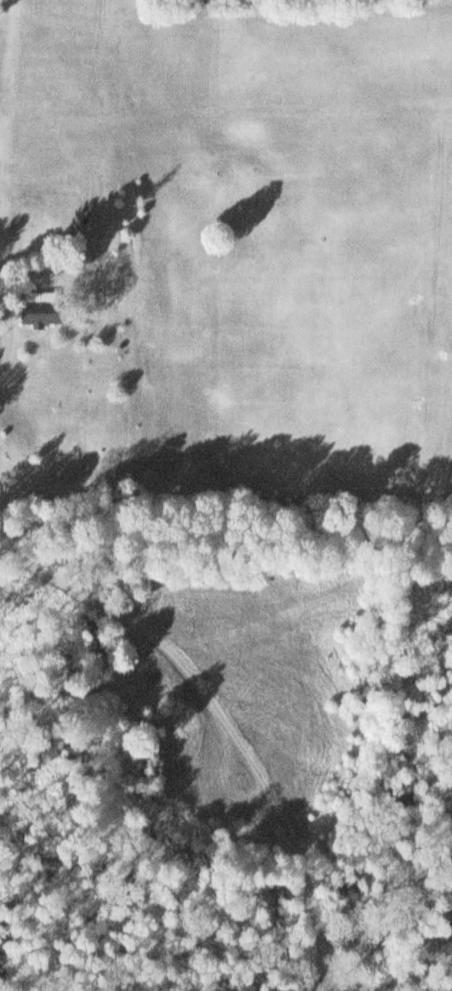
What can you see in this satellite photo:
building: (33, 310)
road: (227, 713)
road: (385, 958)

